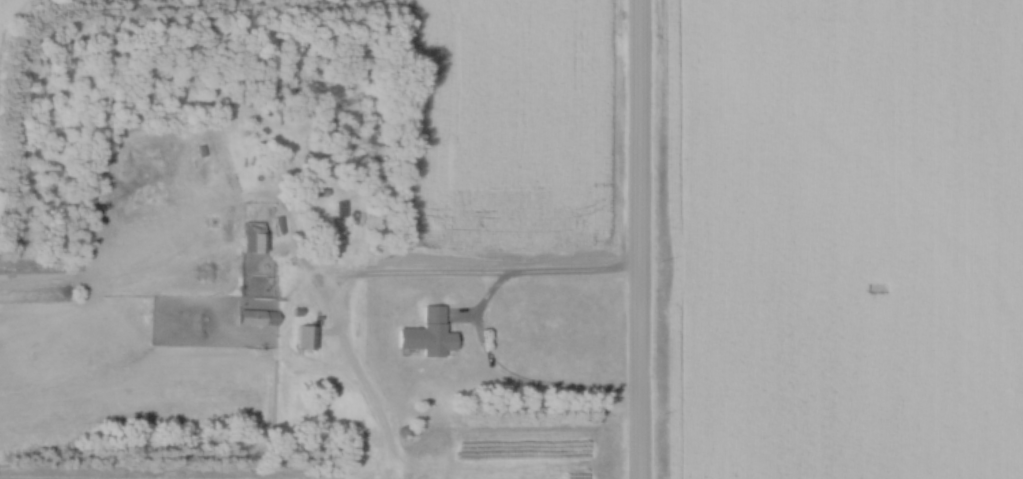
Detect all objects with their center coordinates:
building: (252, 236)
road: (640, 239)
building: (256, 317)
road: (478, 325)
building: (424, 333)
building: (303, 336)

